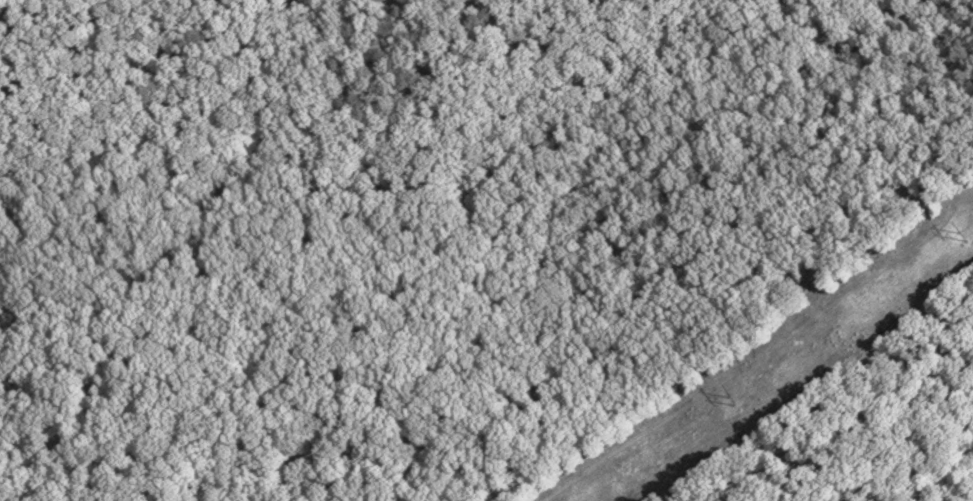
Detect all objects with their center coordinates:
power tower: (963, 236)
power tower: (732, 401)

